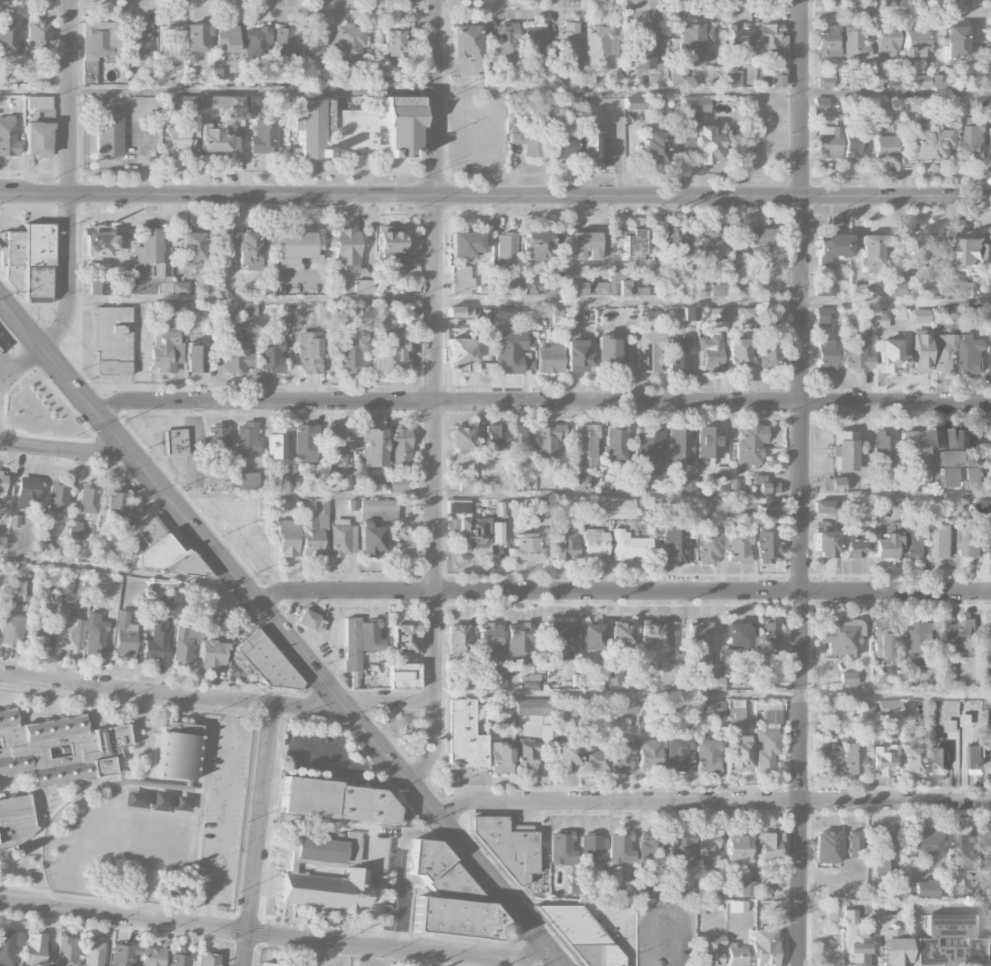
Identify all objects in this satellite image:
building: (39, 36)
building: (9, 38)
building: (226, 39)
building: (738, 39)
building: (771, 39)
building: (505, 40)
building: (138, 41)
building: (194, 41)
building: (533, 41)
building: (465, 42)
building: (826, 42)
building: (257, 43)
building: (283, 43)
building: (392, 43)
building: (854, 43)
building: (887, 43)
building: (915, 43)
building: (954, 44)
building: (313, 45)
building: (349, 45)
building: (566, 46)
building: (601, 46)
building: (96, 47)
building: (644, 47)
building: (688, 50)
building: (331, 72)
building: (775, 78)
building: (734, 79)
building: (468, 80)
building: (826, 80)
building: (878, 80)
building: (596, 81)
building: (921, 81)
building: (943, 81)
road: (495, 91)
building: (39, 102)
building: (183, 103)
building: (634, 103)
building: (820, 104)
building: (911, 104)
building: (695, 105)
building: (225, 106)
building: (249, 107)
building: (864, 109)
building: (294, 117)
building: (400, 127)
building: (109, 133)
building: (8, 135)
building: (263, 136)
building: (179, 137)
building: (216, 138)
building: (37, 139)
building: (974, 140)
building: (701, 141)
building: (828, 142)
building: (928, 142)
building: (854, 143)
building: (534, 146)
building: (590, 146)
building: (563, 147)
building: (653, 147)
building: (885, 147)
road: (70, 180)
road: (495, 195)
building: (98, 243)
building: (465, 244)
building: (764, 244)
building: (584, 245)
building: (676, 245)
building: (192, 246)
building: (389, 246)
building: (633, 246)
building: (536, 247)
building: (346, 248)
building: (506, 248)
building: (712, 248)
building: (832, 248)
building: (247, 249)
building: (296, 249)
building: (917, 249)
building: (977, 249)
building: (29, 261)
building: (868, 263)
building: (152, 267)
building: (732, 278)
building: (504, 282)
building: (460, 283)
building: (99, 287)
building: (364, 287)
building: (533, 287)
building: (589, 288)
building: (630, 289)
building: (897, 289)
building: (965, 289)
building: (710, 290)
building: (824, 290)
road: (530, 299)
building: (244, 309)
building: (460, 312)
building: (900, 313)
building: (412, 314)
building: (689, 314)
building: (880, 314)
building: (952, 314)
building: (745, 315)
building: (773, 315)
building: (981, 315)
building: (822, 317)
building: (719, 319)
building: (141, 333)
building: (111, 341)
building: (165, 350)
building: (649, 350)
building: (767, 350)
building: (920, 351)
building: (352, 352)
building: (508, 352)
building: (309, 353)
building: (397, 353)
building: (460, 353)
building: (739, 353)
building: (856, 353)
building: (609, 354)
building: (680, 354)
building: (711, 354)
building: (943, 354)
building: (271, 355)
building: (827, 355)
building: (972, 355)
building: (234, 356)
building: (577, 356)
building: (890, 357)
road: (20, 359)
building: (194, 359)
building: (549, 359)
road: (486, 386)
road: (560, 387)
road: (691, 387)
road: (436, 396)
road: (543, 404)
building: (493, 437)
building: (940, 438)
building: (218, 439)
building: (246, 440)
building: (460, 440)
building: (174, 443)
building: (305, 443)
building: (547, 443)
building: (709, 443)
building: (277, 444)
building: (616, 444)
building: (335, 445)
building: (585, 445)
building: (749, 445)
building: (400, 446)
building: (517, 446)
building: (679, 446)
building: (373, 447)
building: (913, 448)
building: (882, 450)
road: (62, 451)
building: (649, 451)
building: (844, 451)
building: (964, 459)
building: (941, 469)
building: (346, 480)
building: (247, 481)
building: (284, 482)
road: (800, 482)
building: (576, 483)
building: (3, 484)
building: (467, 484)
building: (399, 485)
building: (636, 485)
building: (688, 485)
building: (837, 485)
building: (768, 488)
building: (27, 493)
building: (57, 498)
road: (582, 498)
building: (88, 499)
road: (170, 501)
building: (667, 503)
building: (321, 506)
building: (745, 506)
building: (823, 507)
building: (116, 508)
building: (772, 508)
building: (621, 509)
building: (375, 524)
building: (498, 532)
building: (473, 534)
building: (300, 538)
building: (342, 538)
building: (990, 540)
building: (913, 541)
building: (942, 541)
building: (674, 542)
building: (887, 542)
building: (972, 542)
building: (566, 544)
building: (708, 544)
building: (825, 544)
building: (594, 545)
building: (767, 545)
building: (628, 546)
building: (738, 547)
building: (525, 548)
building: (855, 549)
building: (165, 552)
road: (118, 574)
building: (67, 582)
building: (21, 590)
road: (623, 595)
building: (169, 607)
building: (310, 621)
building: (10, 630)
building: (68, 633)
building: (557, 633)
building: (620, 633)
building: (673, 633)
building: (650, 635)
building: (40, 636)
building: (95, 636)
building: (186, 636)
building: (125, 637)
building: (591, 637)
building: (740, 638)
building: (839, 638)
building: (963, 638)
building: (404, 639)
building: (458, 639)
building: (489, 639)
building: (883, 639)
building: (769, 640)
building: (360, 641)
building: (923, 641)
building: (157, 642)
building: (698, 643)
building: (519, 644)
building: (555, 652)
building: (213, 654)
building: (267, 662)
building: (670, 675)
building: (847, 678)
building: (400, 679)
building: (614, 679)
building: (714, 679)
building: (497, 682)
building: (531, 683)
building: (764, 684)
building: (460, 685)
road: (713, 694)
road: (171, 695)
road: (388, 701)
building: (623, 706)
building: (865, 706)
building: (717, 707)
building: (888, 708)
building: (910, 708)
building: (832, 709)
building: (532, 715)
building: (735, 718)
building: (967, 719)
building: (951, 726)
building: (463, 737)
building: (769, 738)
building: (58, 747)
building: (178, 751)
building: (740, 752)
building: (707, 753)
building: (527, 754)
building: (651, 754)
building: (679, 754)
building: (620, 755)
building: (565, 756)
building: (977, 757)
building: (500, 758)
building: (594, 759)
building: (853, 759)
building: (829, 760)
building: (911, 760)
building: (941, 760)
building: (883, 761)
building: (337, 801)
road: (713, 802)
building: (183, 803)
road: (220, 815)
building: (14, 819)
road: (452, 834)
road: (258, 836)
building: (160, 843)
building: (922, 843)
building: (855, 844)
building: (507, 846)
building: (650, 846)
building: (707, 846)
building: (769, 846)
building: (827, 847)
building: (561, 848)
building: (592, 848)
building: (619, 848)
building: (678, 849)
building: (320, 850)
building: (737, 850)
building: (883, 852)
building: (971, 852)
road: (402, 875)
building: (614, 876)
building: (747, 888)
building: (908, 889)
building: (924, 889)
building: (327, 890)
building: (680, 892)
building: (828, 892)
building: (451, 898)
road: (588, 904)
building: (738, 907)
building: (862, 908)
road: (666, 911)
building: (833, 914)
building: (582, 935)
road: (274, 936)
building: (854, 943)
building: (947, 943)
building: (7, 947)
building: (764, 947)
building: (893, 947)
building: (34, 950)
building: (711, 950)
building: (67, 951)
building: (93, 953)
building: (123, 955)
building: (735, 955)
building: (151, 957)
building: (208, 960)
building: (180, 961)
building: (272, 965)

